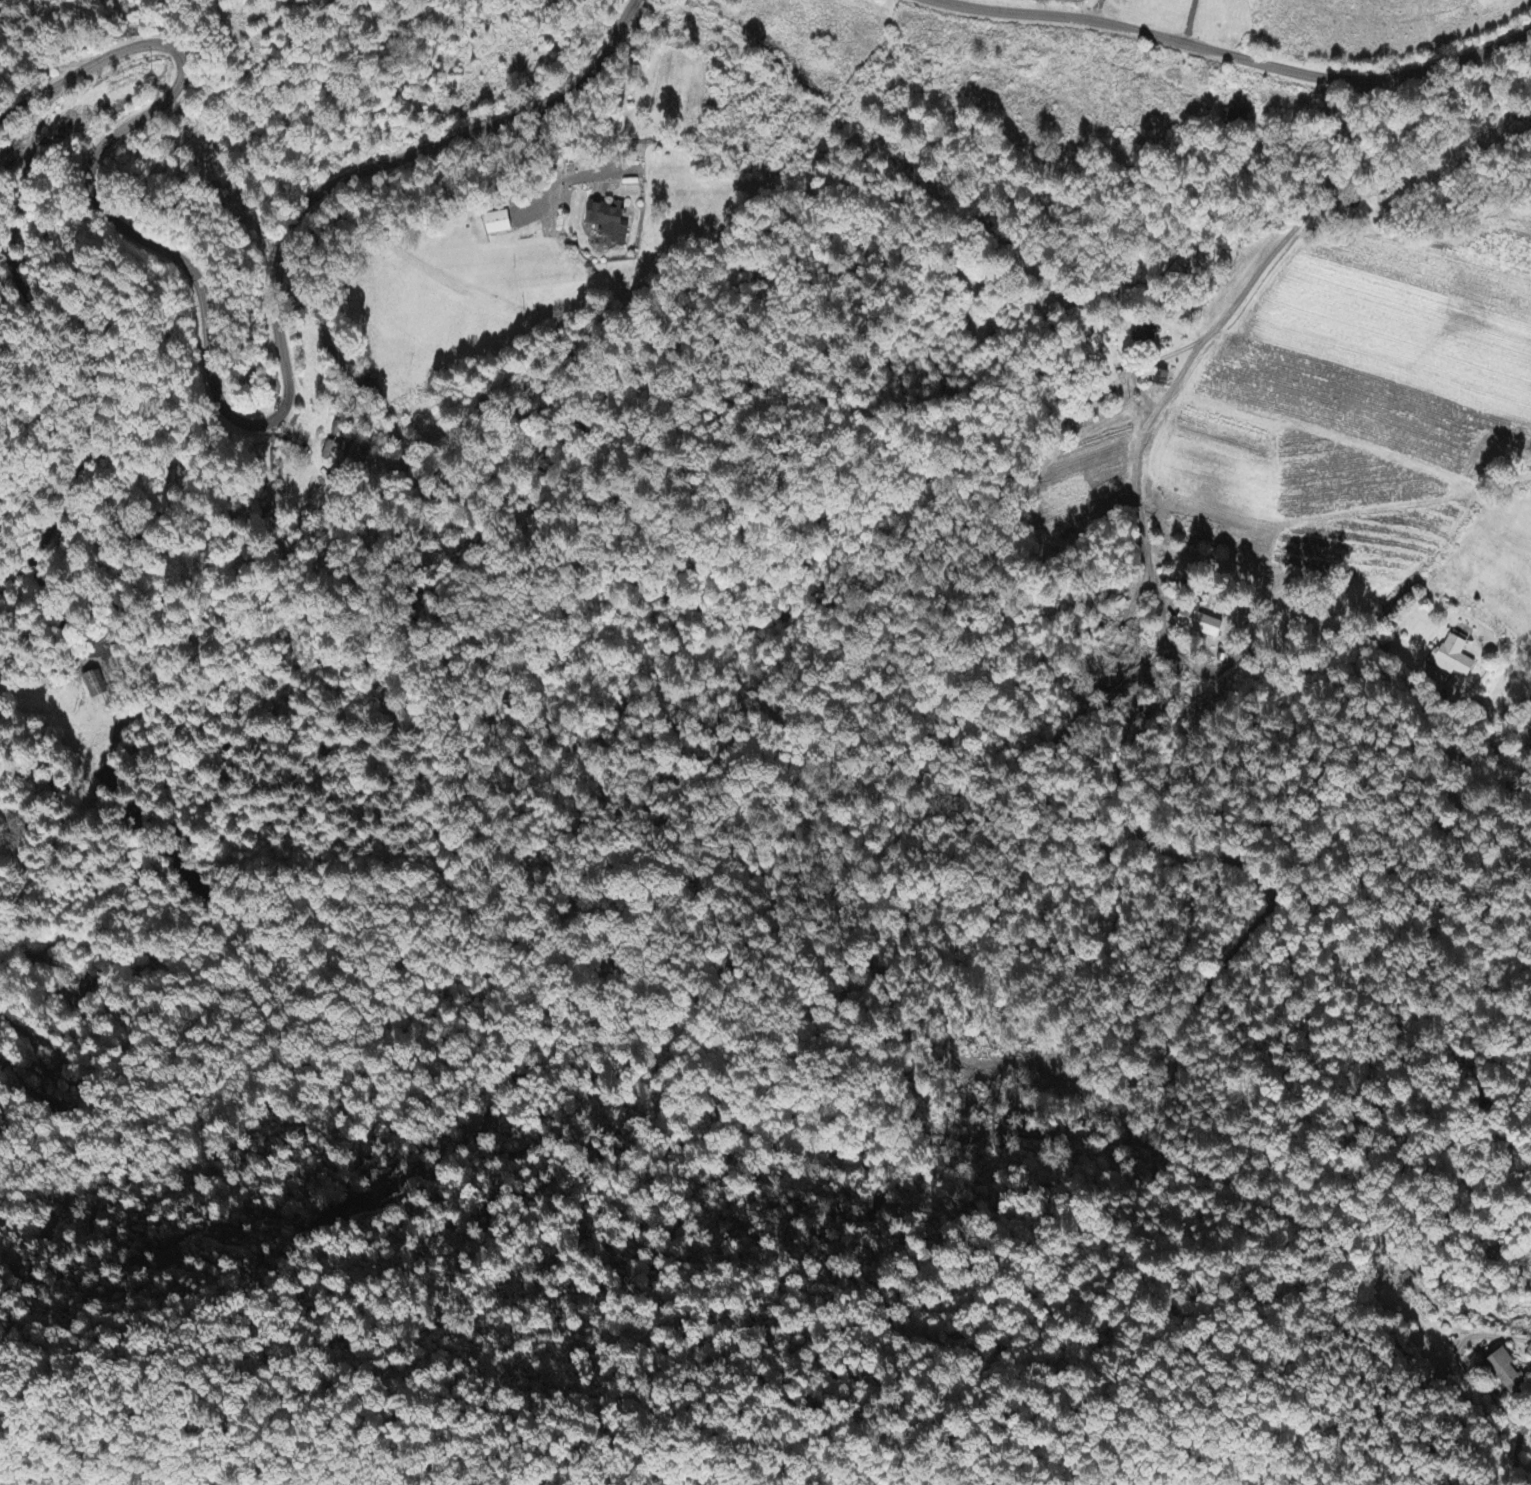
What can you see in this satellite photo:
road: (1235, 57)
building: (612, 223)
road: (1266, 250)
road: (212, 407)
building: (1199, 622)
building: (1449, 658)
road: (1466, 733)
building: (1506, 1372)

